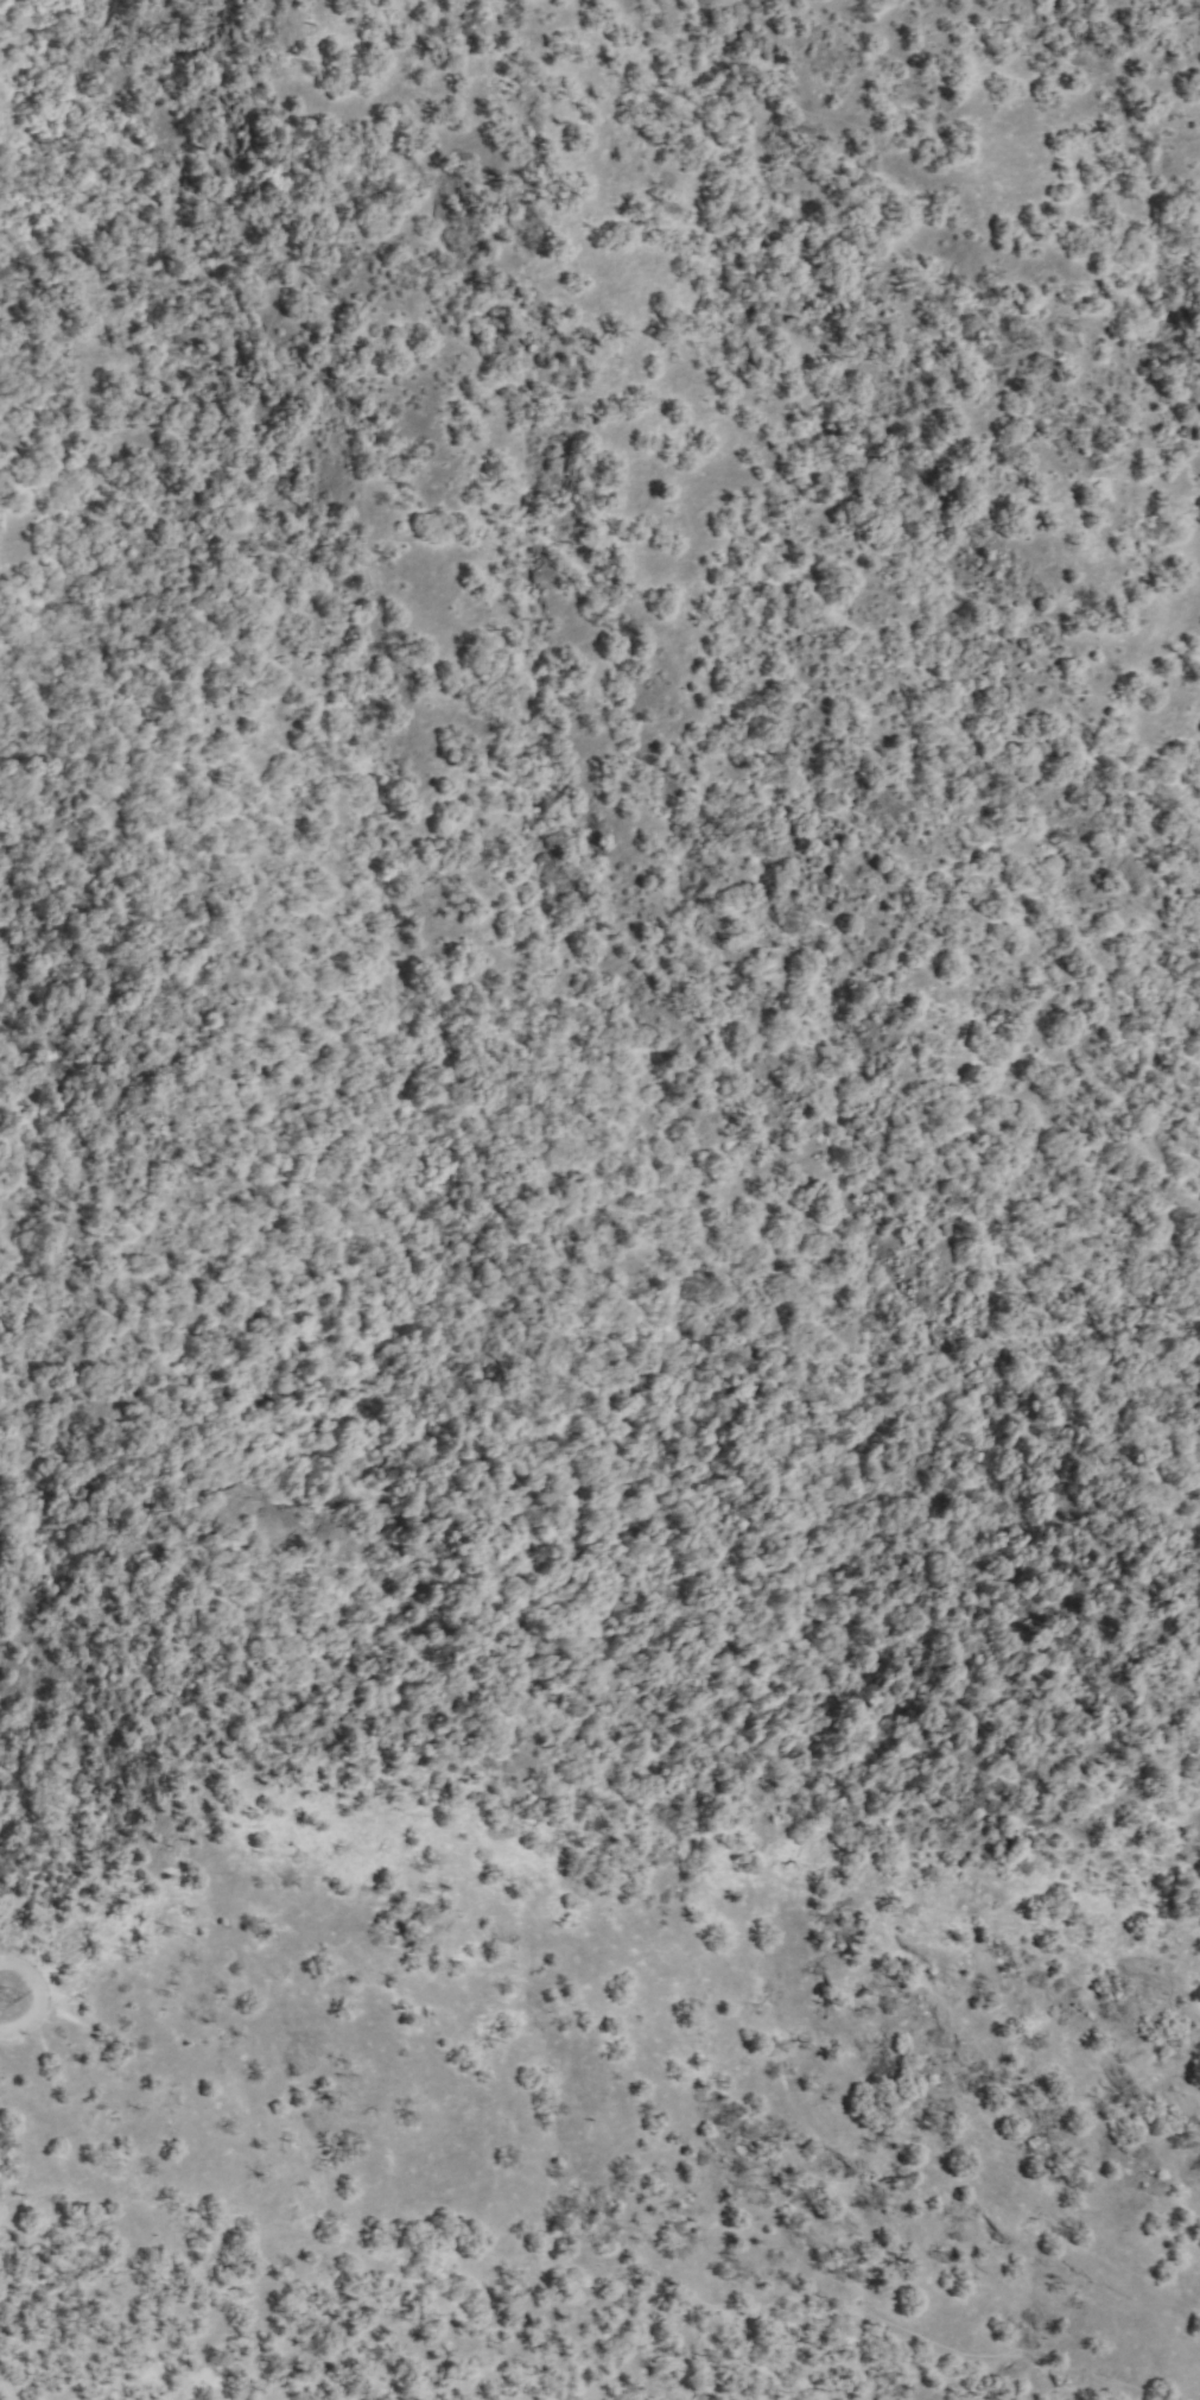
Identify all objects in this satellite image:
power tower: (0, 2000)

